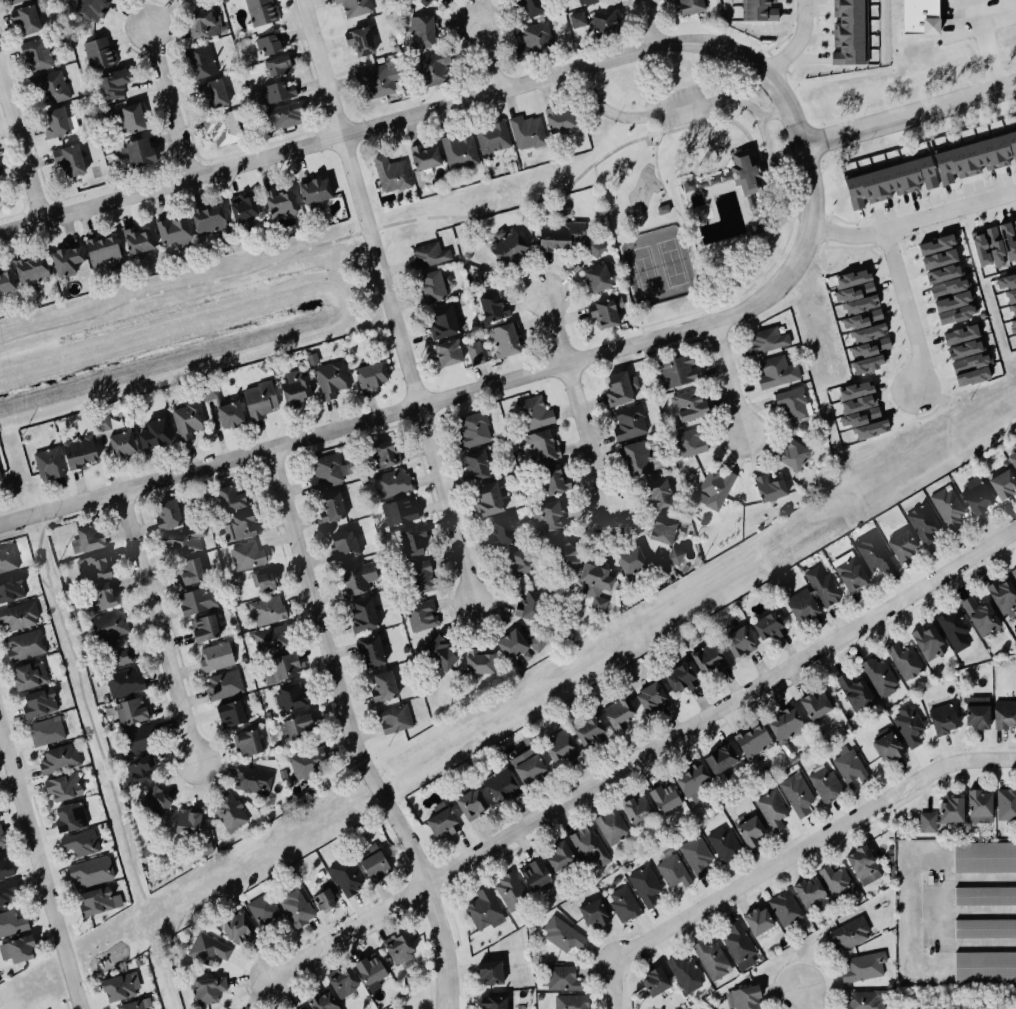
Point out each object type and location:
building: (436, 0)
building: (14, 1)
building: (423, 2)
building: (589, 2)
building: (687, 5)
building: (355, 7)
building: (531, 7)
building: (91, 8)
building: (260, 11)
building: (757, 11)
building: (920, 17)
building: (26, 20)
building: (578, 20)
building: (605, 23)
road: (646, 23)
building: (205, 24)
building: (422, 31)
building: (849, 32)
building: (362, 41)
building: (533, 42)
road: (796, 43)
building: (268, 44)
road: (979, 46)
building: (35, 54)
building: (99, 54)
road: (491, 56)
building: (201, 61)
building: (278, 65)
building: (434, 68)
park: (670, 79)
building: (379, 80)
building: (114, 82)
building: (52, 87)
building: (279, 91)
building: (216, 92)
road: (717, 97)
road: (168, 105)
parking lot: (682, 105)
road: (773, 110)
road: (424, 112)
road: (909, 113)
building: (283, 114)
building: (130, 119)
building: (560, 120)
building: (58, 123)
building: (222, 129)
building: (527, 132)
building: (491, 136)
road: (21, 151)
building: (460, 152)
road: (608, 152)
building: (138, 153)
park: (782, 156)
building: (425, 157)
building: (975, 157)
building: (70, 160)
building: (745, 171)
building: (392, 174)
building: (887, 181)
building: (316, 192)
building: (281, 203)
park: (649, 207)
building: (243, 210)
road: (681, 219)
road: (913, 221)
building: (1015, 223)
building: (171, 229)
building: (559, 234)
building: (137, 240)
building: (1007, 241)
building: (937, 244)
building: (508, 246)
building: (593, 247)
building: (979, 248)
building: (103, 250)
building: (428, 256)
building: (65, 260)
building: (938, 260)
park: (657, 266)
building: (30, 270)
building: (945, 274)
building: (597, 278)
building: (6, 281)
road: (188, 285)
building: (431, 286)
building: (949, 287)
building: (856, 292)
park: (182, 293)
building: (1010, 295)
road: (734, 297)
road: (385, 300)
building: (494, 307)
building: (955, 308)
road: (907, 309)
building: (1013, 310)
building: (607, 311)
building: (862, 319)
building: (442, 321)
building: (1012, 327)
road: (553, 329)
building: (869, 333)
building: (960, 335)
building: (766, 340)
building: (507, 342)
building: (965, 349)
building: (447, 352)
building: (474, 352)
building: (869, 355)
building: (971, 370)
building: (679, 371)
building: (775, 371)
building: (369, 374)
building: (331, 379)
road: (729, 380)
building: (295, 389)
building: (621, 389)
road: (465, 392)
building: (259, 399)
building: (688, 404)
building: (793, 404)
building: (860, 404)
building: (536, 412)
building: (231, 415)
building: (188, 420)
building: (630, 423)
building: (103, 424)
building: (474, 430)
building: (155, 433)
road: (584, 442)
building: (688, 442)
building: (122, 444)
building: (542, 447)
building: (80, 452)
building: (385, 454)
building: (794, 455)
building: (640, 458)
building: (1012, 460)
building: (47, 463)
building: (475, 464)
building: (328, 470)
building: (0, 478)
building: (555, 481)
building: (392, 483)
building: (1002, 484)
building: (770, 488)
building: (714, 490)
building: (660, 494)
building: (975, 495)
building: (232, 496)
building: (488, 500)
building: (332, 507)
building: (948, 508)
building: (399, 511)
building: (547, 514)
building: (169, 515)
building: (923, 524)
building: (245, 525)
building: (664, 530)
building: (501, 532)
building: (412, 540)
building: (87, 541)
building: (182, 541)
building: (344, 545)
building: (901, 545)
building: (563, 552)
building: (872, 552)
building: (248, 555)
building: (675, 556)
building: (7, 559)
building: (631, 560)
building: (519, 564)
building: (94, 565)
building: (190, 571)
building: (850, 572)
building: (1014, 572)
building: (421, 576)
building: (357, 577)
building: (264, 581)
building: (594, 584)
building: (822, 585)
building: (10, 588)
building: (102, 596)
building: (1002, 596)
building: (197, 601)
building: (529, 605)
building: (801, 605)
building: (268, 610)
building: (363, 615)
building: (18, 616)
building: (421, 616)
building: (979, 616)
building: (107, 626)
road: (157, 626)
building: (768, 626)
building: (205, 628)
building: (952, 629)
building: (273, 639)
building: (537, 642)
building: (739, 642)
building: (929, 643)
building: (23, 645)
building: (512, 645)
building: (371, 651)
building: (441, 653)
building: (119, 654)
building: (216, 657)
building: (709, 657)
building: (905, 661)
building: (479, 663)
building: (281, 667)
building: (29, 676)
building: (878, 676)
building: (681, 678)
building: (124, 681)
building: (223, 685)
building: (383, 687)
building: (854, 693)
building: (292, 697)
building: (651, 697)
building: (40, 703)
building: (814, 705)
building: (131, 711)
building: (616, 713)
building: (230, 714)
building: (1003, 714)
building: (976, 717)
building: (393, 718)
building: (944, 719)
building: (909, 724)
building: (785, 726)
building: (297, 728)
building: (47, 731)
building: (589, 731)
road: (348, 733)
building: (136, 739)
building: (752, 740)
building: (248, 743)
building: (559, 745)
building: (887, 745)
road: (641, 755)
building: (59, 759)
building: (721, 759)
building: (526, 761)
building: (307, 762)
building: (849, 765)
building: (140, 769)
building: (253, 781)
building: (693, 781)
building: (825, 784)
building: (502, 786)
building: (64, 787)
building: (796, 794)
building: (665, 799)
building: (156, 801)
building: (471, 803)
building: (1006, 804)
building: (980, 807)
building: (636, 809)
building: (772, 810)
building: (230, 812)
building: (942, 815)
building: (69, 817)
building: (188, 822)
building: (443, 823)
building: (612, 825)
building: (751, 831)
building: (1, 839)
building: (82, 843)
building: (589, 843)
building: (723, 844)
building: (561, 855)
building: (698, 856)
building: (983, 857)
road: (790, 858)
building: (374, 864)
building: (862, 865)
building: (5, 866)
building: (672, 868)
building: (90, 871)
road: (39, 872)
building: (345, 876)
building: (536, 876)
building: (837, 882)
building: (645, 883)
building: (8, 890)
building: (511, 892)
building: (810, 894)
building: (983, 896)
building: (323, 899)
building: (99, 901)
building: (622, 903)
building: (295, 907)
building: (785, 907)
building: (263, 909)
building: (485, 910)
road: (938, 911)
building: (594, 913)
building: (757, 921)
building: (11, 923)
building: (238, 927)
building: (984, 928)
building: (846, 932)
building: (561, 935)
building: (738, 946)
building: (397, 947)
building: (207, 949)
building: (17, 950)
building: (712, 960)
building: (863, 967)
building: (984, 968)
building: (369, 970)
building: (491, 972)
building: (686, 972)
building: (563, 979)
building: (343, 981)
building: (655, 981)
building: (119, 986)
building: (208, 990)
road: (805, 995)
building: (743, 998)
building: (868, 1000)
building: (570, 1001)
building: (321, 1002)
building: (494, 1002)
building: (135, 1004)

